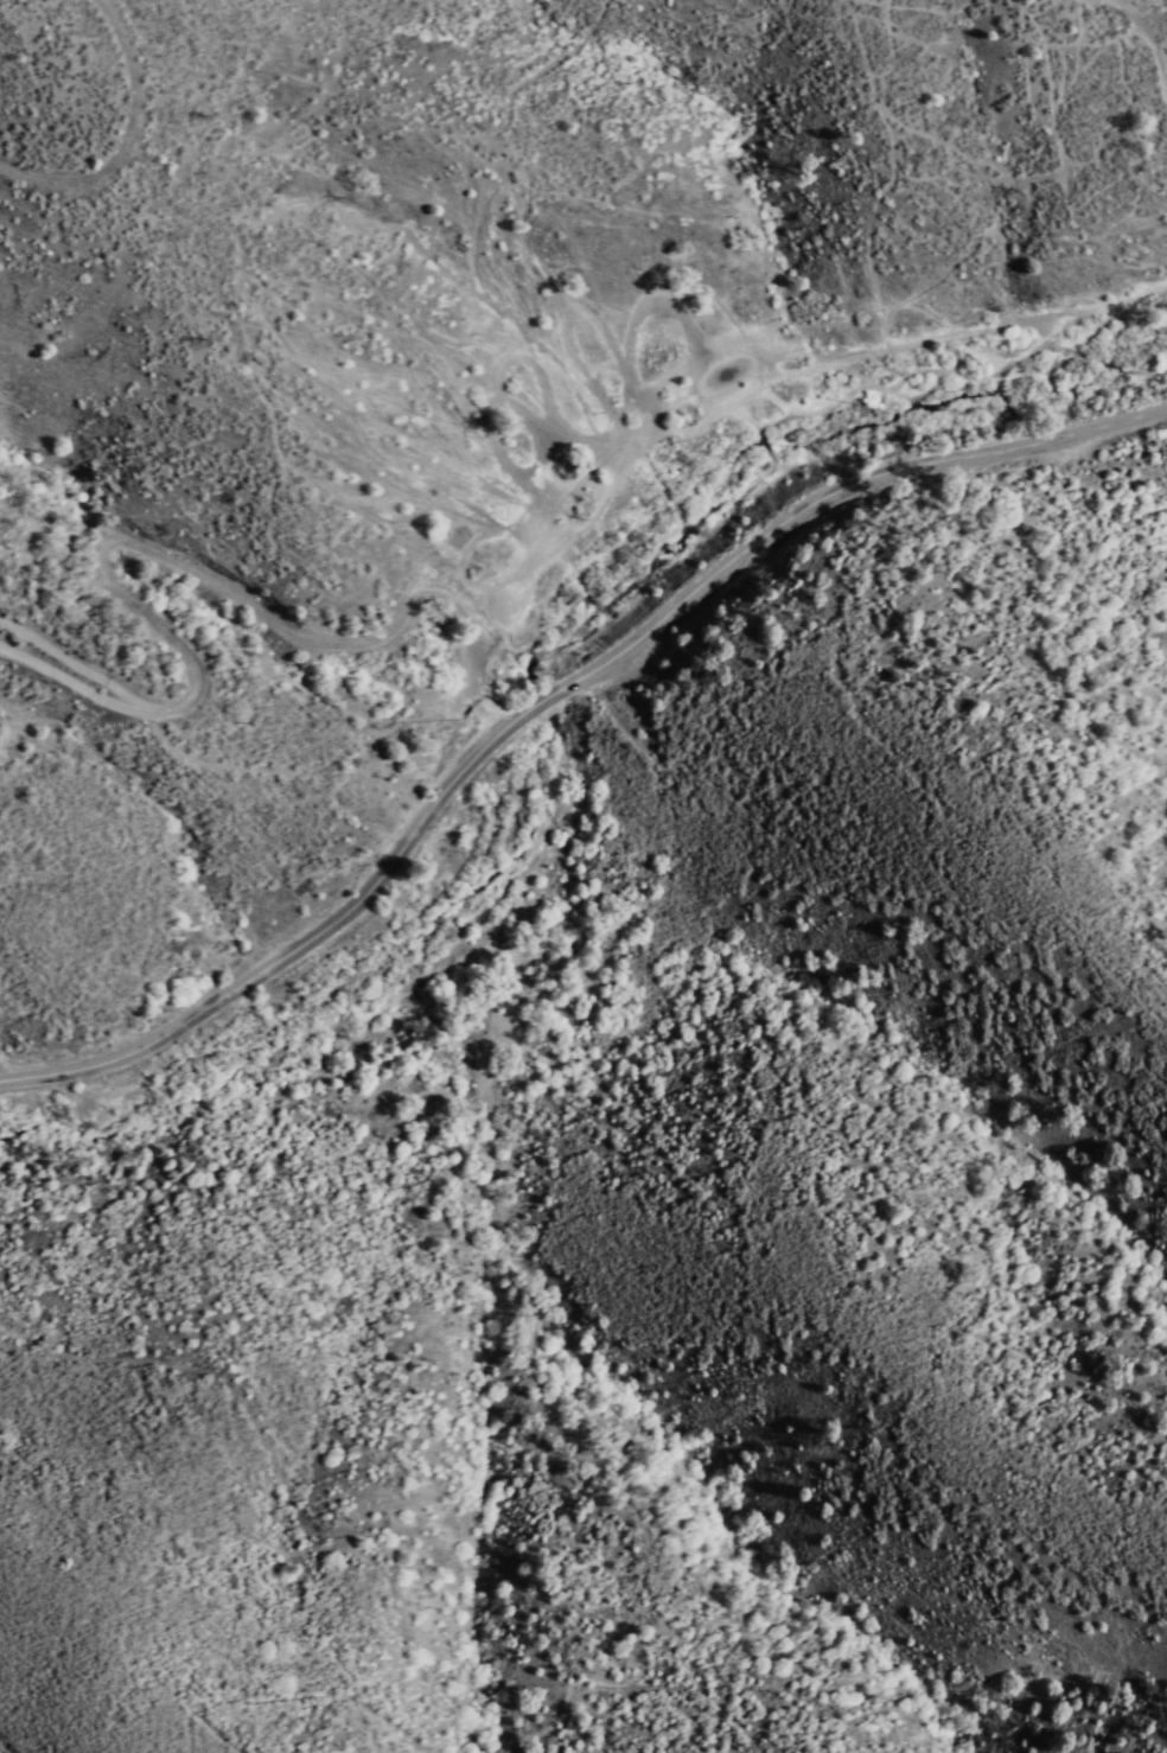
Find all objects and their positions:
road: (1155, 11)
road: (107, 126)
road: (793, 331)
road: (365, 358)
road: (185, 566)
road: (553, 691)

